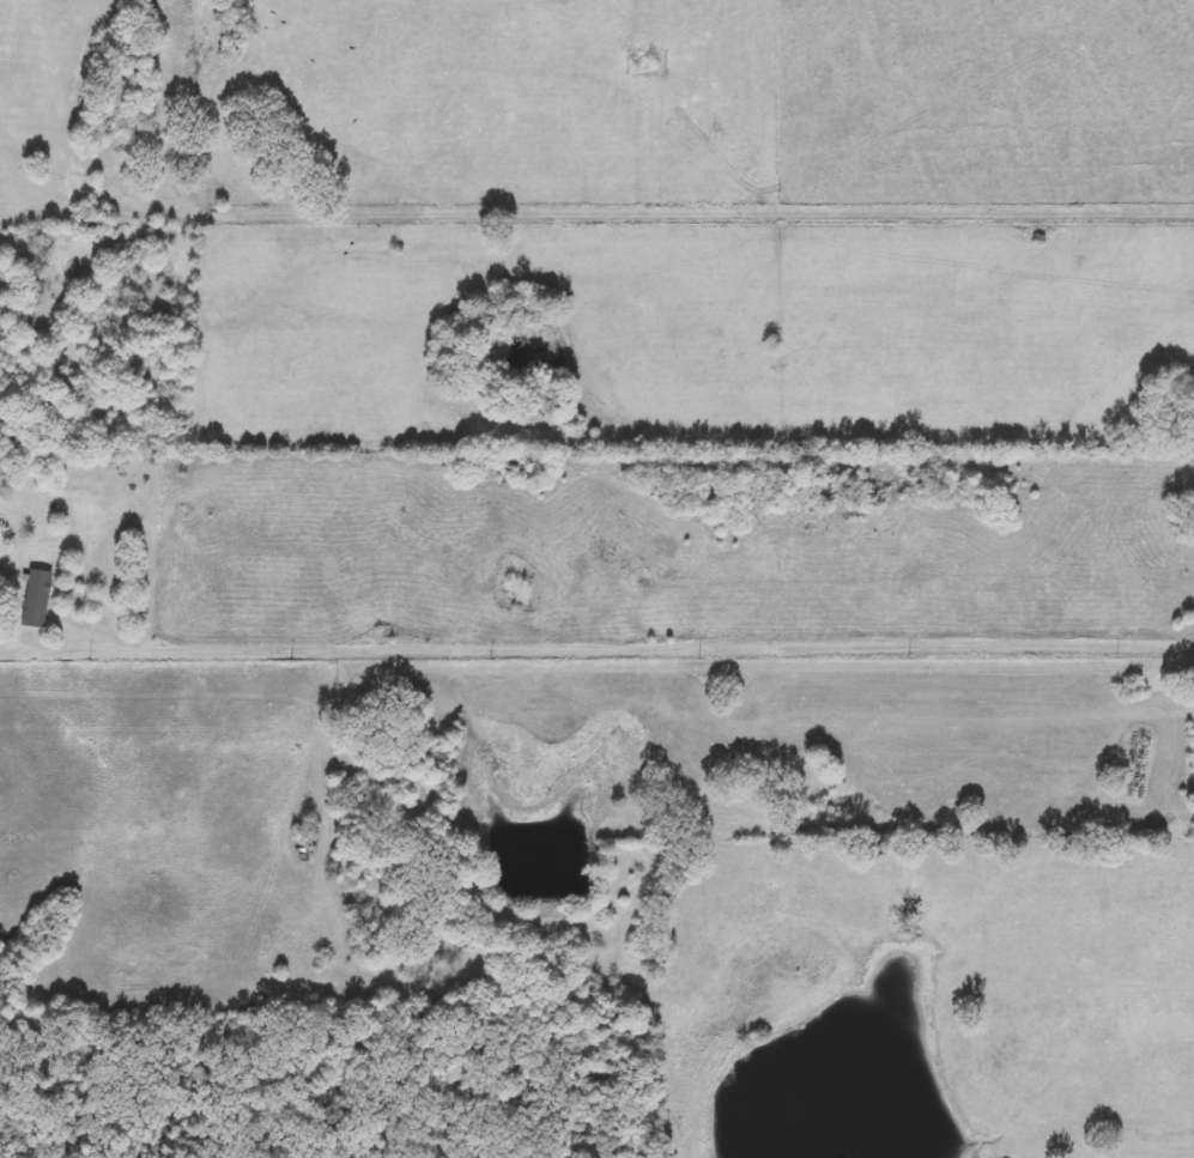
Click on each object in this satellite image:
building: (36, 600)
road: (596, 647)

